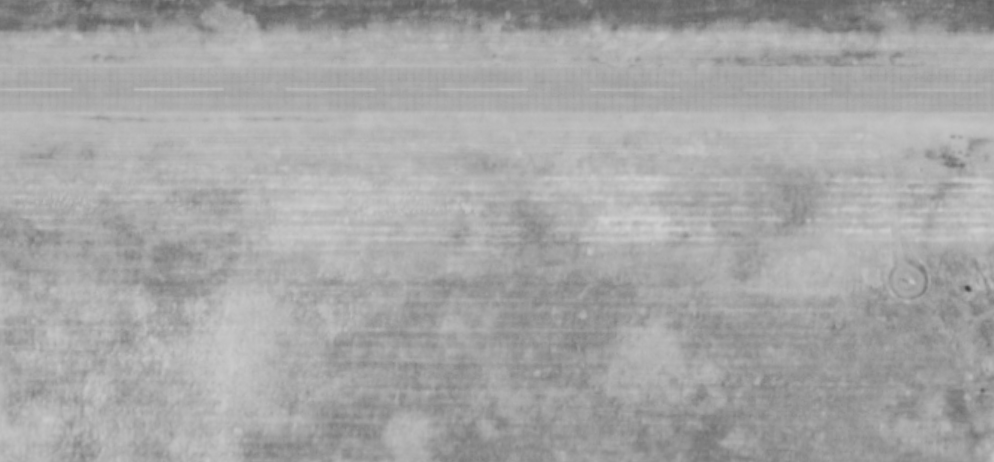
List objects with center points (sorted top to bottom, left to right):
airport runway: (497, 88)
airport: (497, 231)

